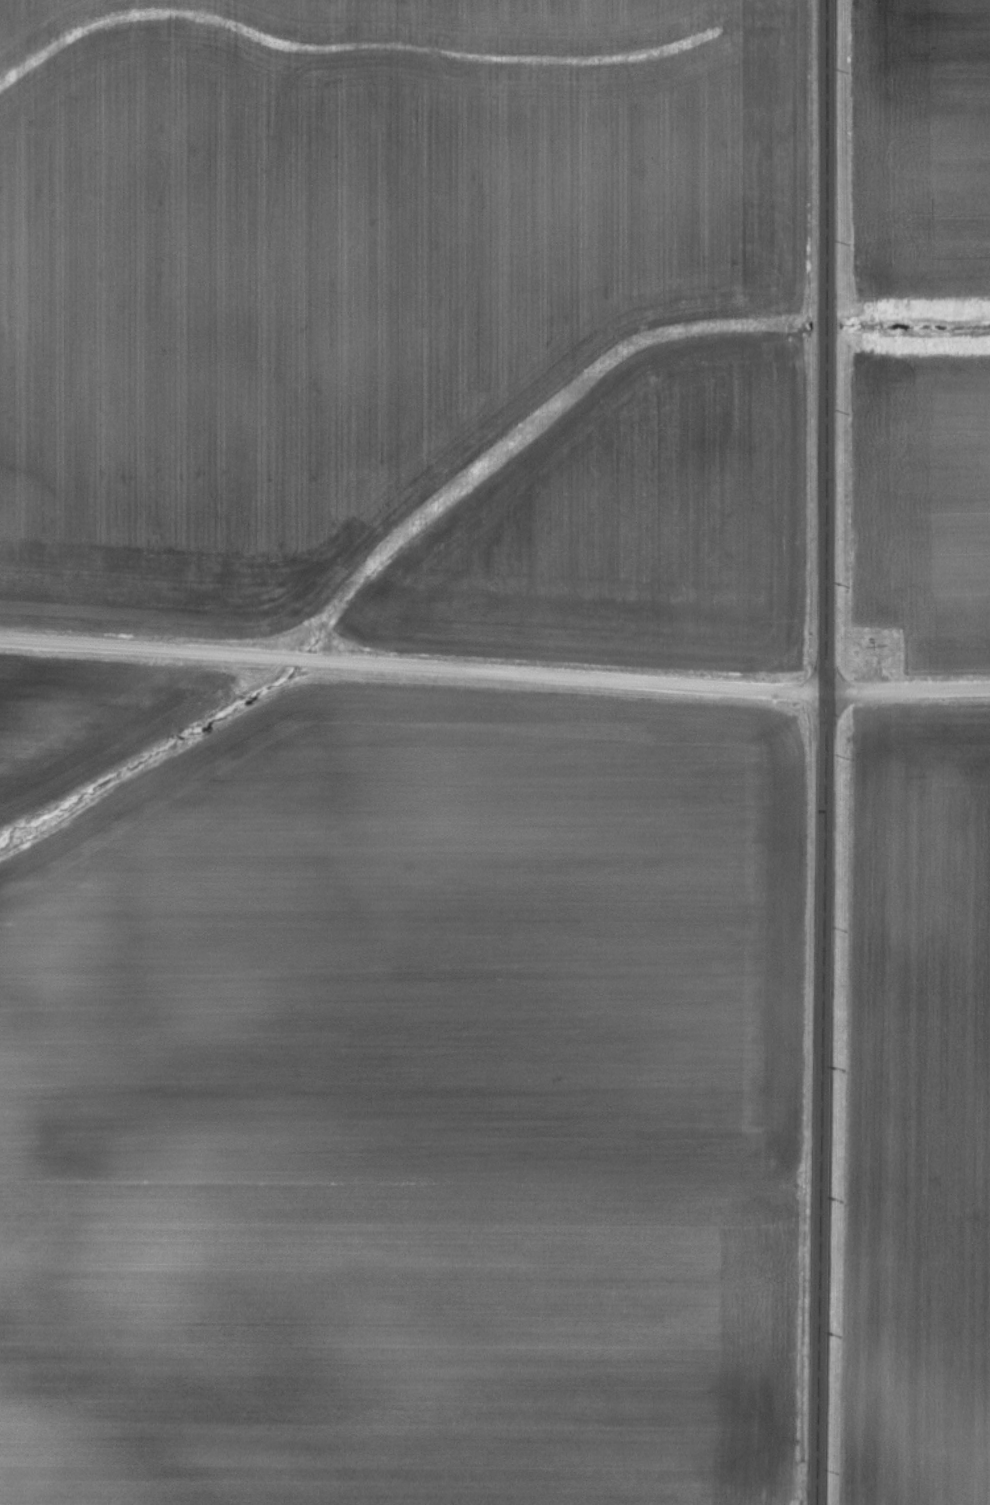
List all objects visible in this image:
road: (494, 673)
road: (827, 752)

